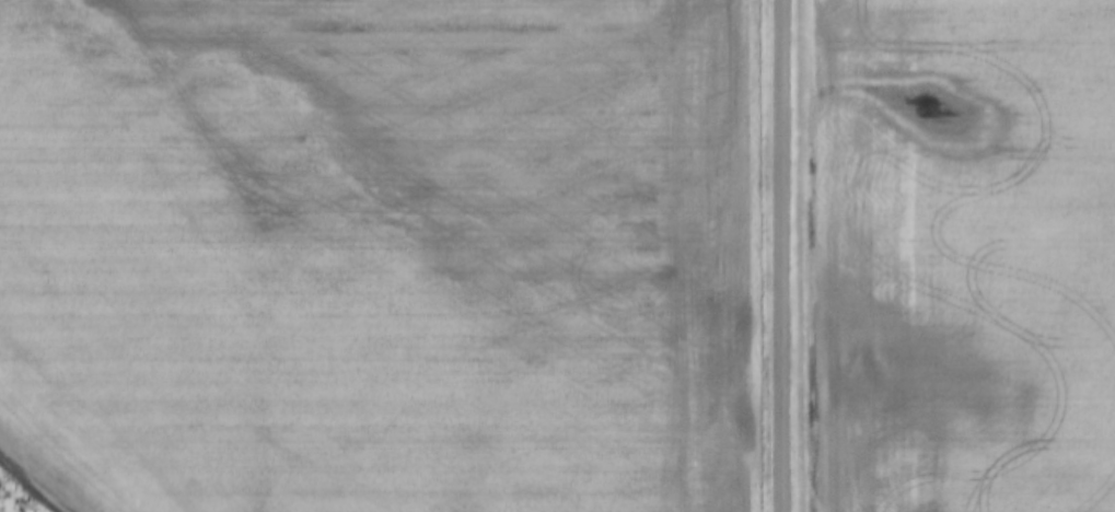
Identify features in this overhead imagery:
road: (783, 256)

